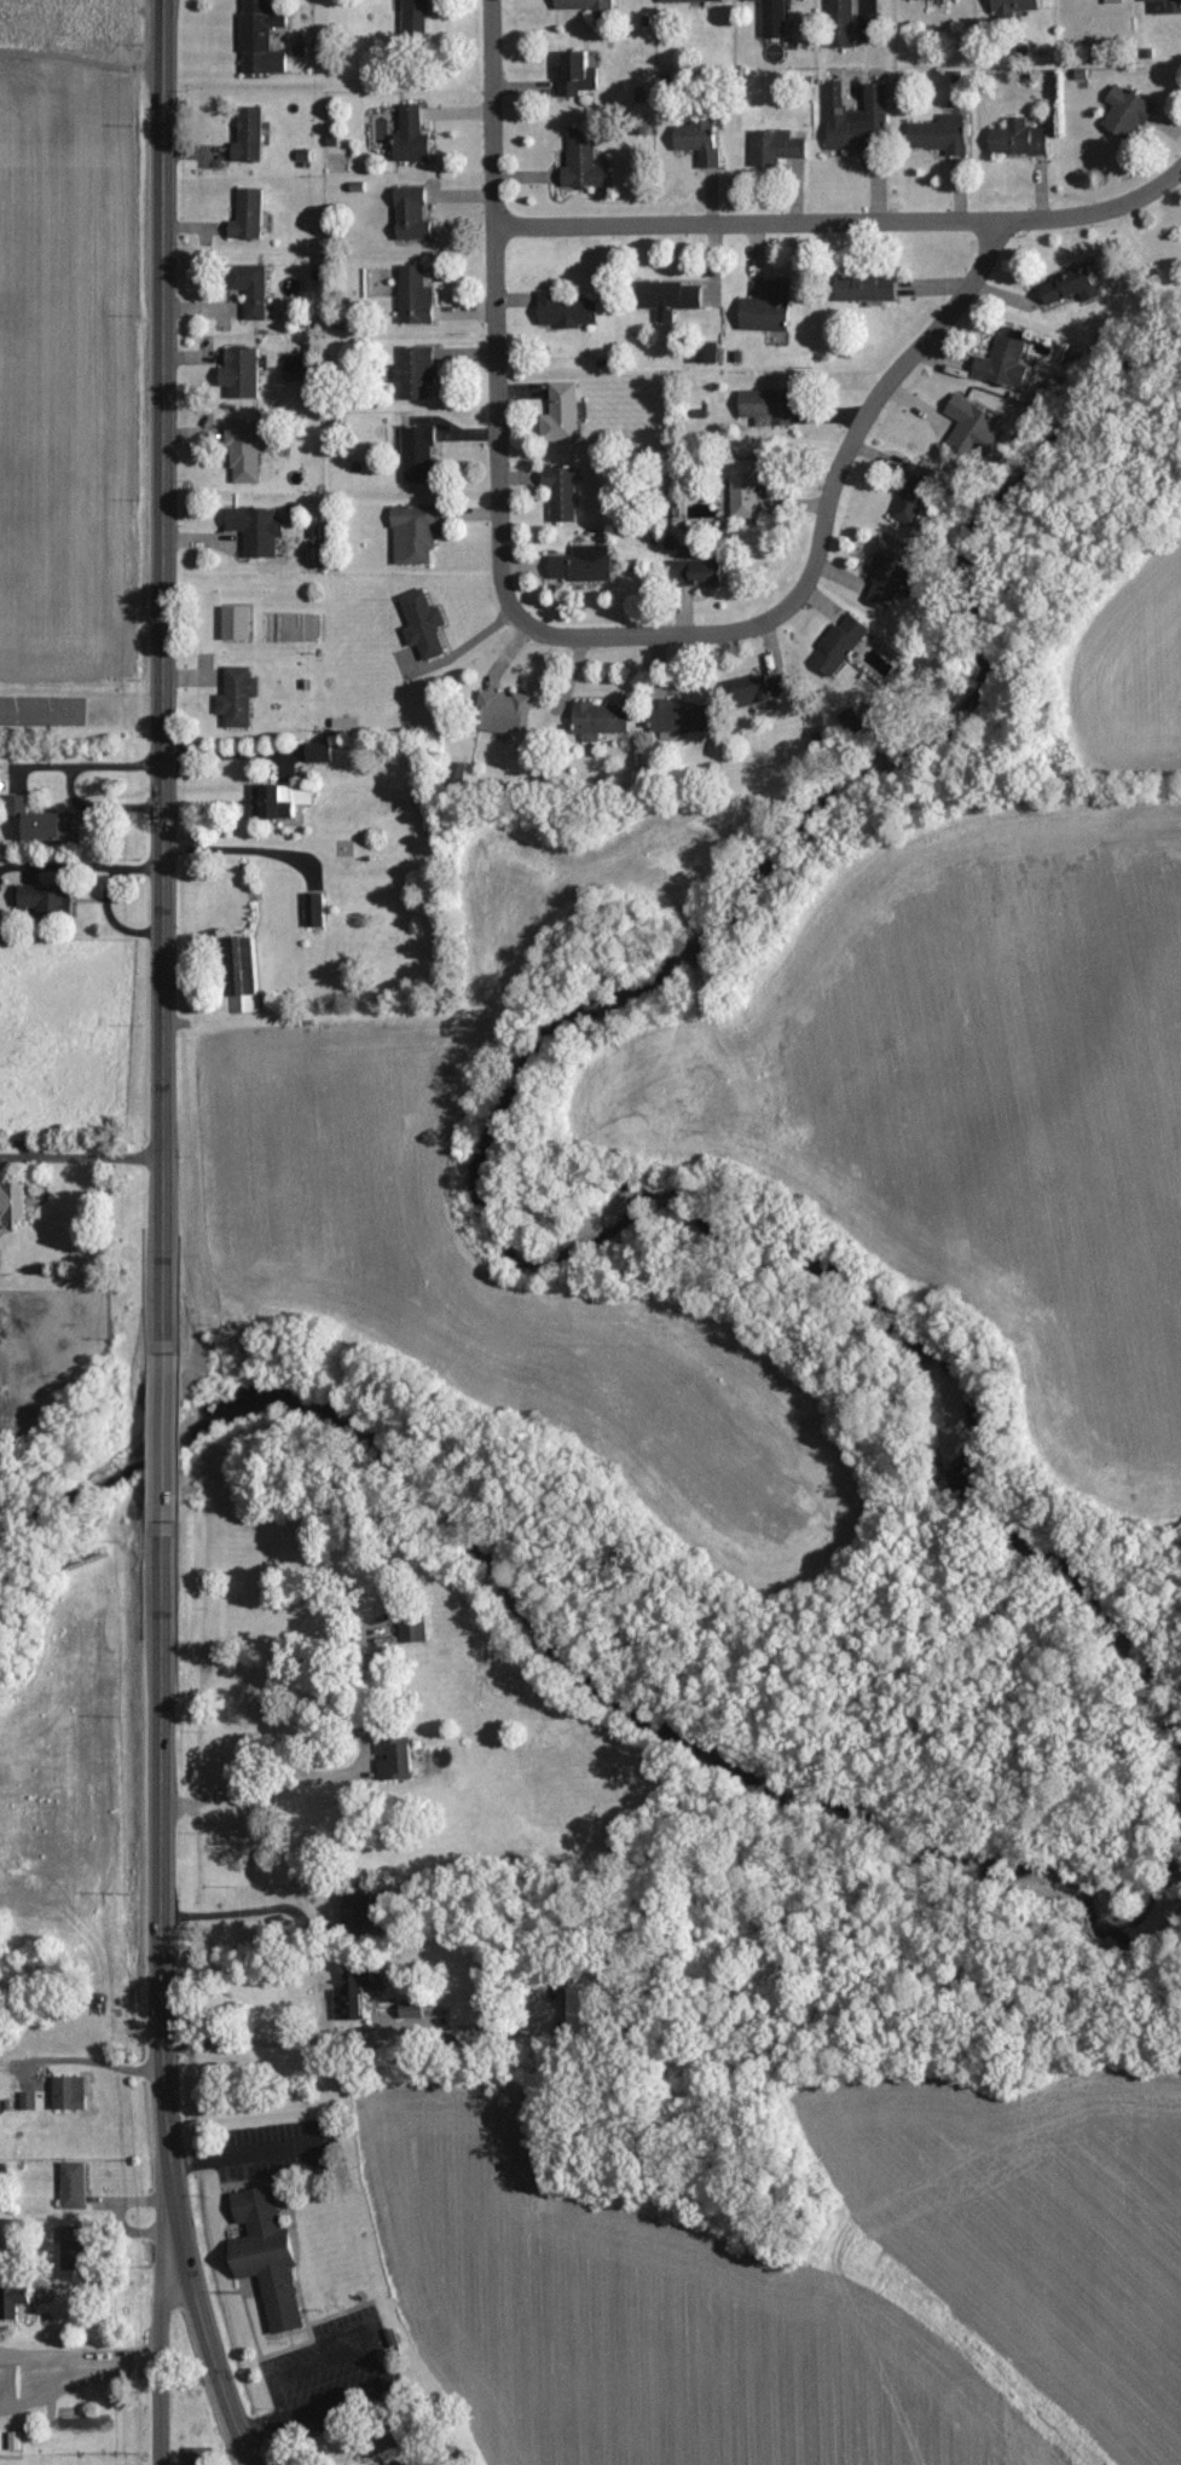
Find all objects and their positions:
building: (689, 0)
building: (1115, 1)
building: (585, 5)
building: (1171, 5)
building: (840, 6)
building: (1014, 7)
building: (774, 18)
building: (416, 19)
building: (844, 31)
building: (262, 39)
building: (578, 75)
building: (1128, 112)
building: (858, 122)
building: (943, 134)
building: (249, 137)
building: (413, 137)
building: (1019, 139)
building: (700, 142)
building: (776, 149)
building: (584, 162)
building: (413, 214)
building: (249, 217)
road: (839, 224)
building: (1072, 287)
building: (869, 288)
building: (253, 290)
building: (416, 298)
building: (671, 299)
building: (769, 308)
building: (567, 312)
building: (710, 353)
building: (1006, 359)
building: (416, 370)
building: (242, 371)
building: (766, 406)
building: (561, 412)
building: (974, 428)
building: (247, 451)
building: (418, 454)
building: (747, 486)
building: (562, 492)
building: (915, 493)
building: (257, 530)
building: (415, 532)
building: (584, 564)
building: (891, 571)
building: (700, 572)
building: (238, 622)
building: (424, 624)
road: (572, 629)
building: (841, 643)
building: (765, 687)
building: (239, 697)
building: (504, 711)
road: (39, 712)
building: (602, 717)
building: (681, 718)
building: (320, 751)
building: (288, 799)
building: (42, 821)
building: (45, 897)
building: (315, 910)
building: (244, 1004)
road: (79, 1150)
building: (15, 1201)
road: (157, 1239)
building: (1, 1402)
building: (416, 1626)
building: (360, 1913)
building: (353, 1997)
building: (586, 2010)
building: (70, 2094)
building: (29, 2101)
building: (75, 2186)
building: (76, 2248)
building: (270, 2257)
road: (164, 2299)
building: (15, 2303)
road: (79, 2382)
building: (11, 2383)
road: (157, 2411)
building: (198, 2457)

